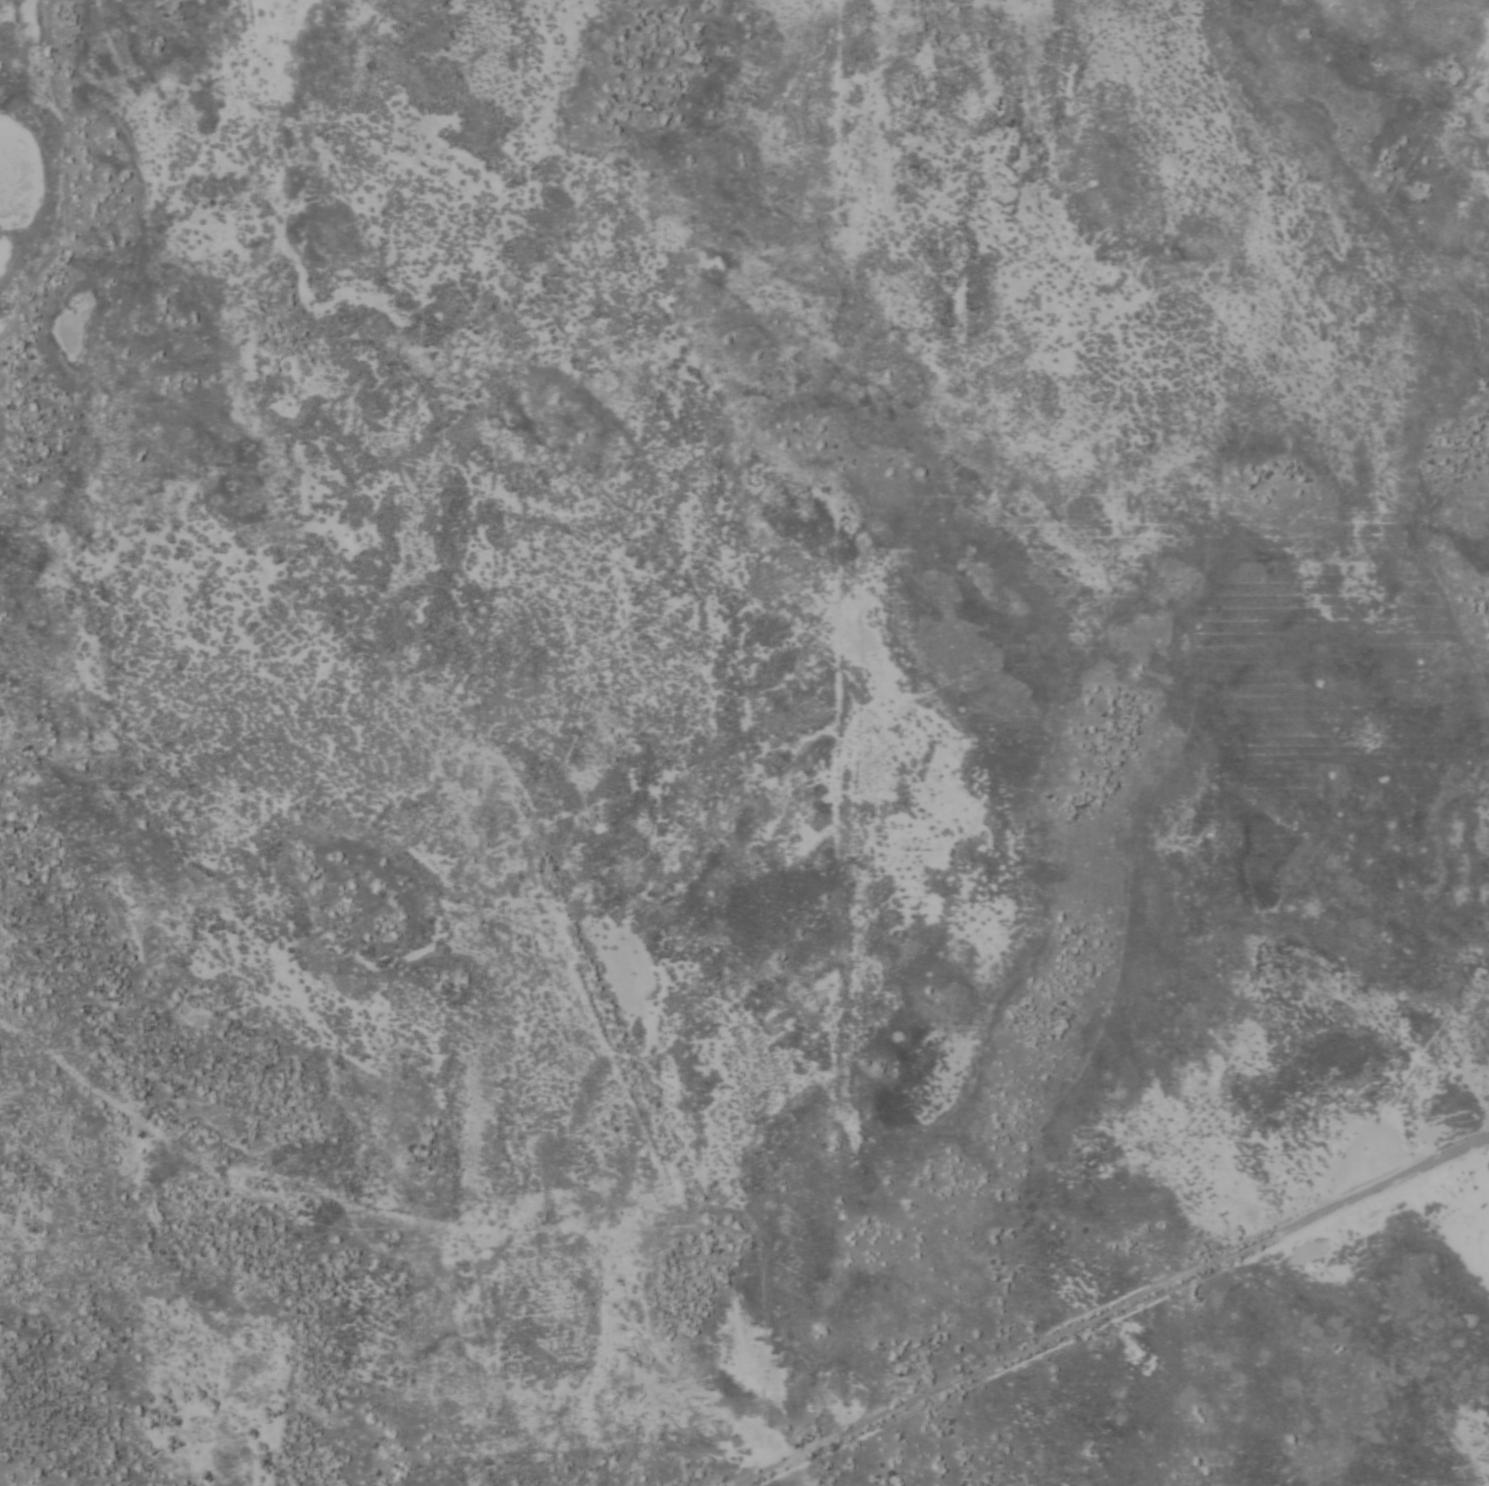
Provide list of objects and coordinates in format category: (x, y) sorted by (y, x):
road: (1134, 1322)

